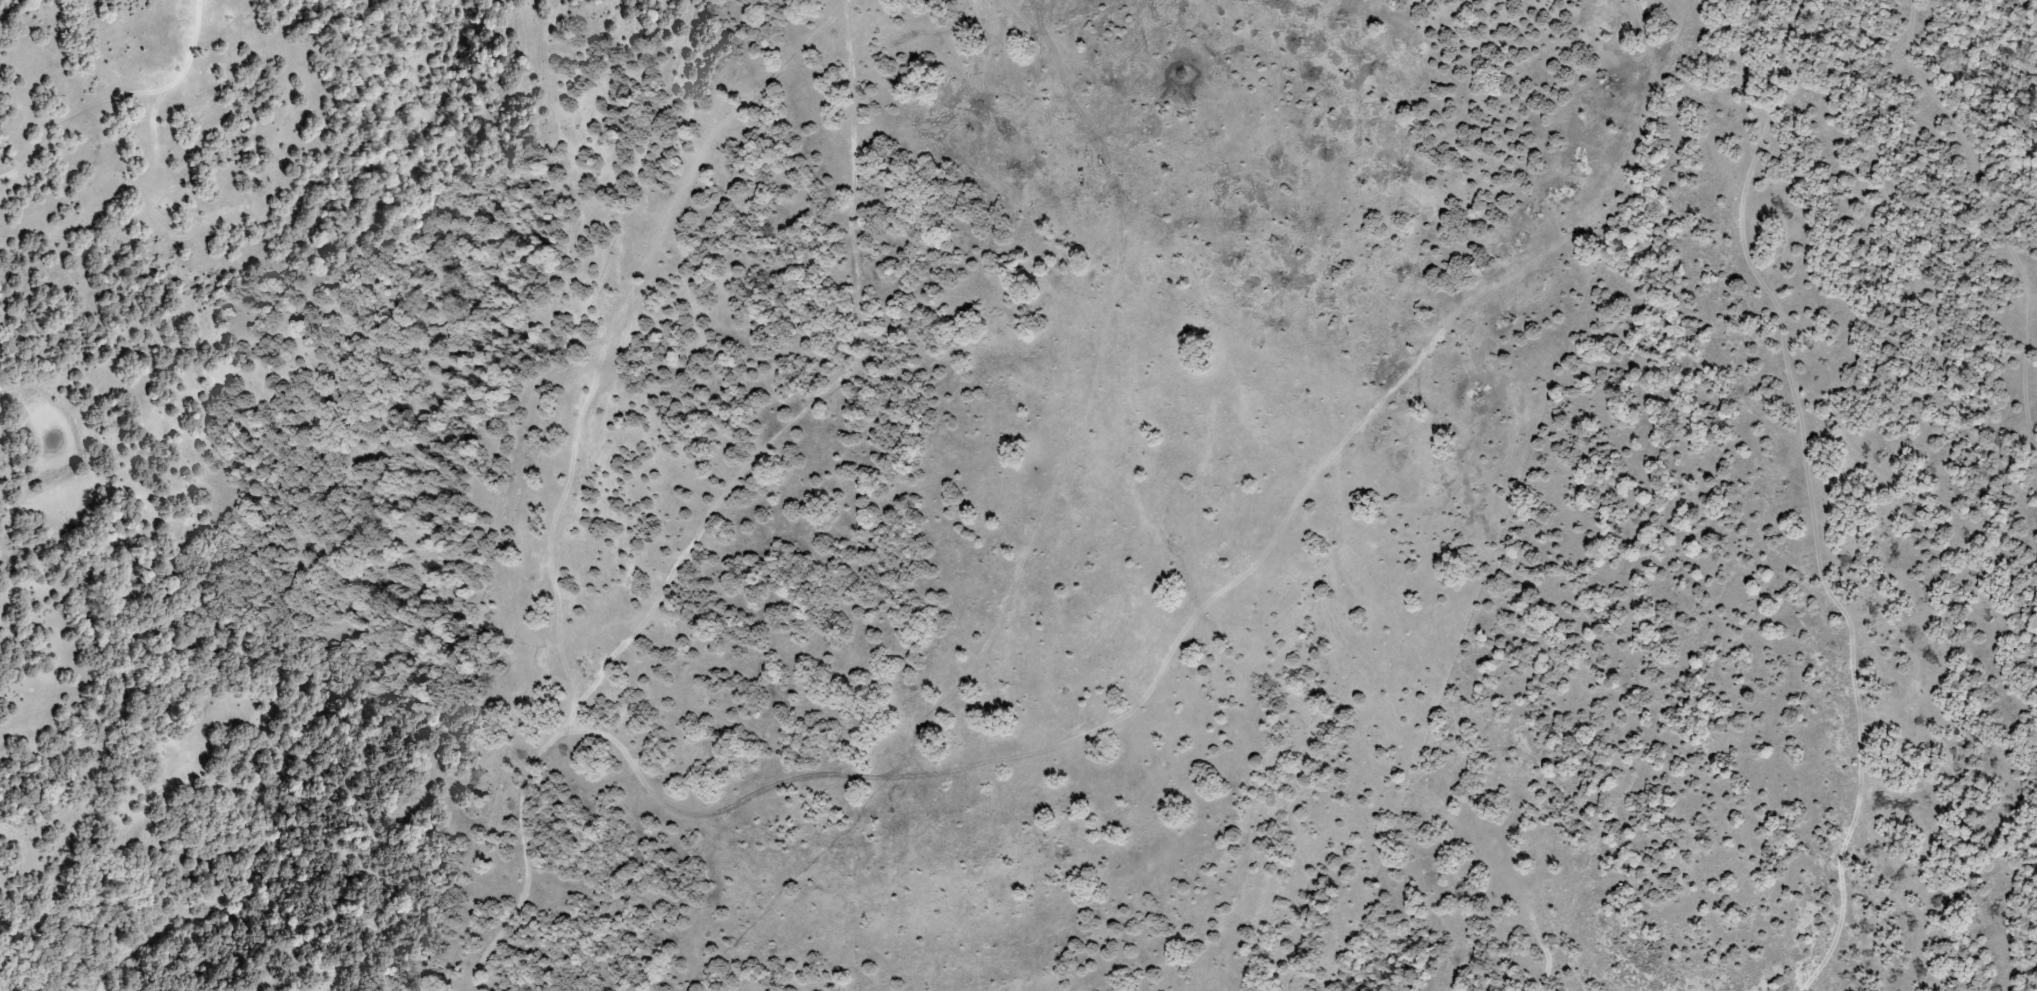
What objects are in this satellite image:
road: (1772, 501)
road: (719, 514)

